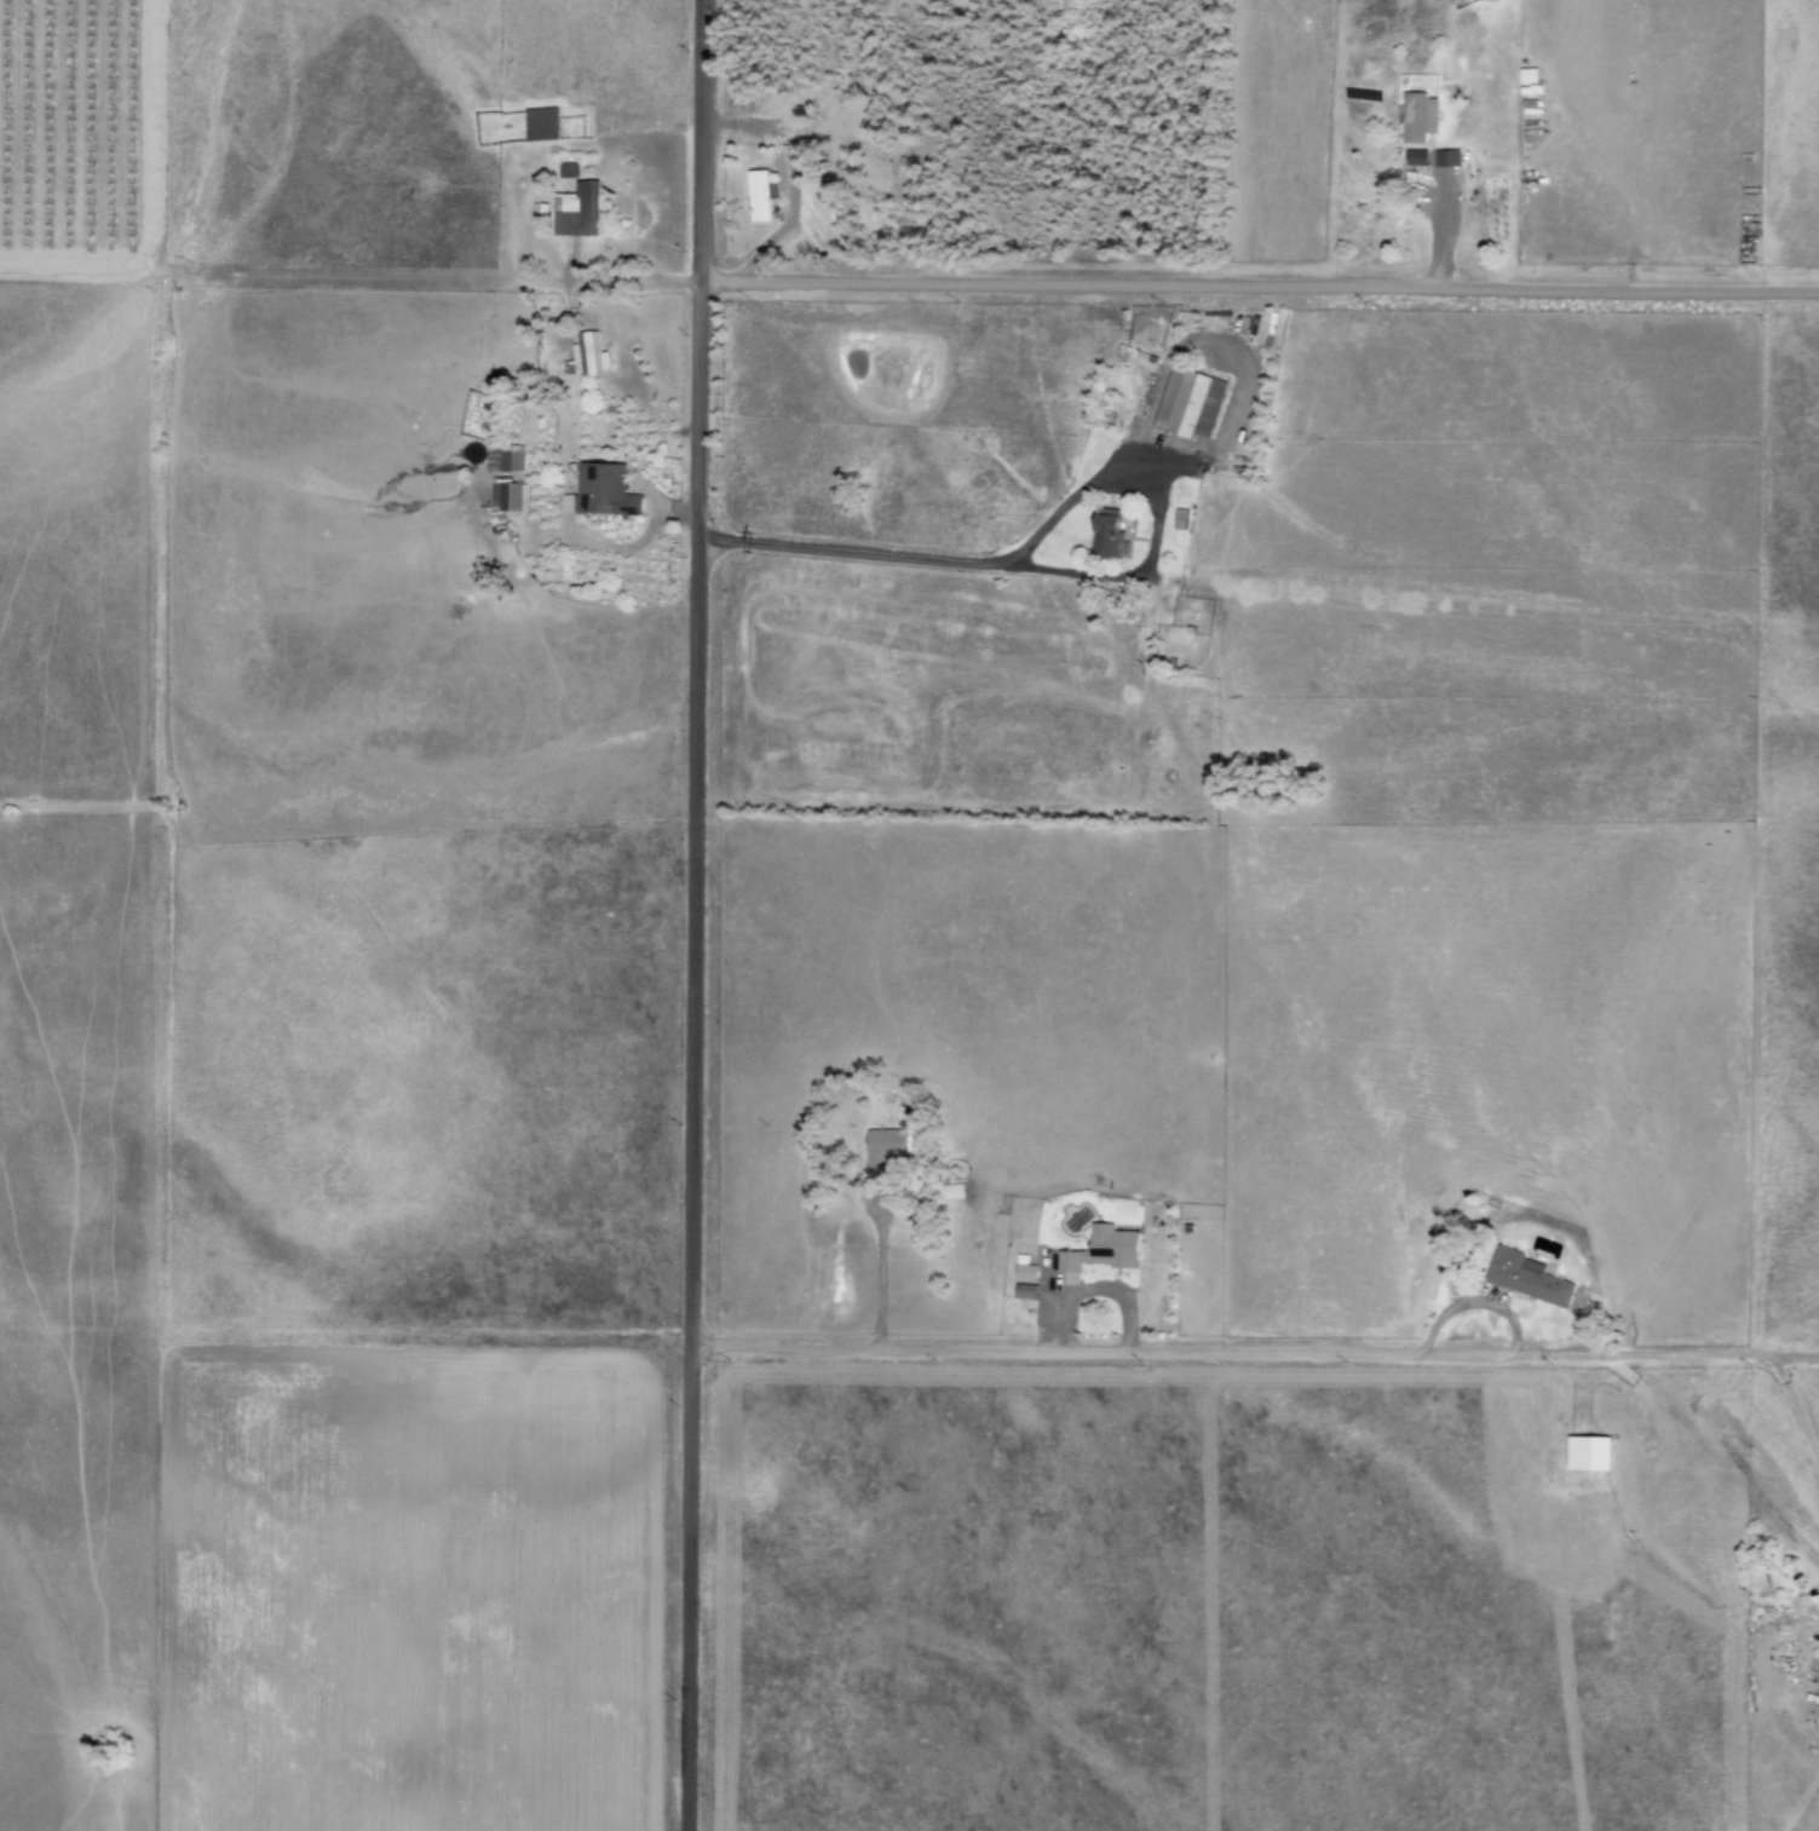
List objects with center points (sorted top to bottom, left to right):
building: (1417, 116)
building: (541, 125)
building: (565, 169)
building: (759, 195)
building: (577, 209)
road: (1447, 229)
road: (989, 286)
road: (1225, 346)
building: (586, 356)
building: (1188, 403)
building: (501, 456)
building: (601, 491)
building: (503, 497)
building: (1178, 519)
building: (1110, 534)
road: (1067, 572)
road: (689, 915)
building: (885, 1147)
building: (1103, 1249)
building: (1023, 1269)
building: (1527, 1277)
road: (879, 1284)
building: (1023, 1290)
road: (1144, 1351)
road: (1710, 1353)
building: (1588, 1452)

